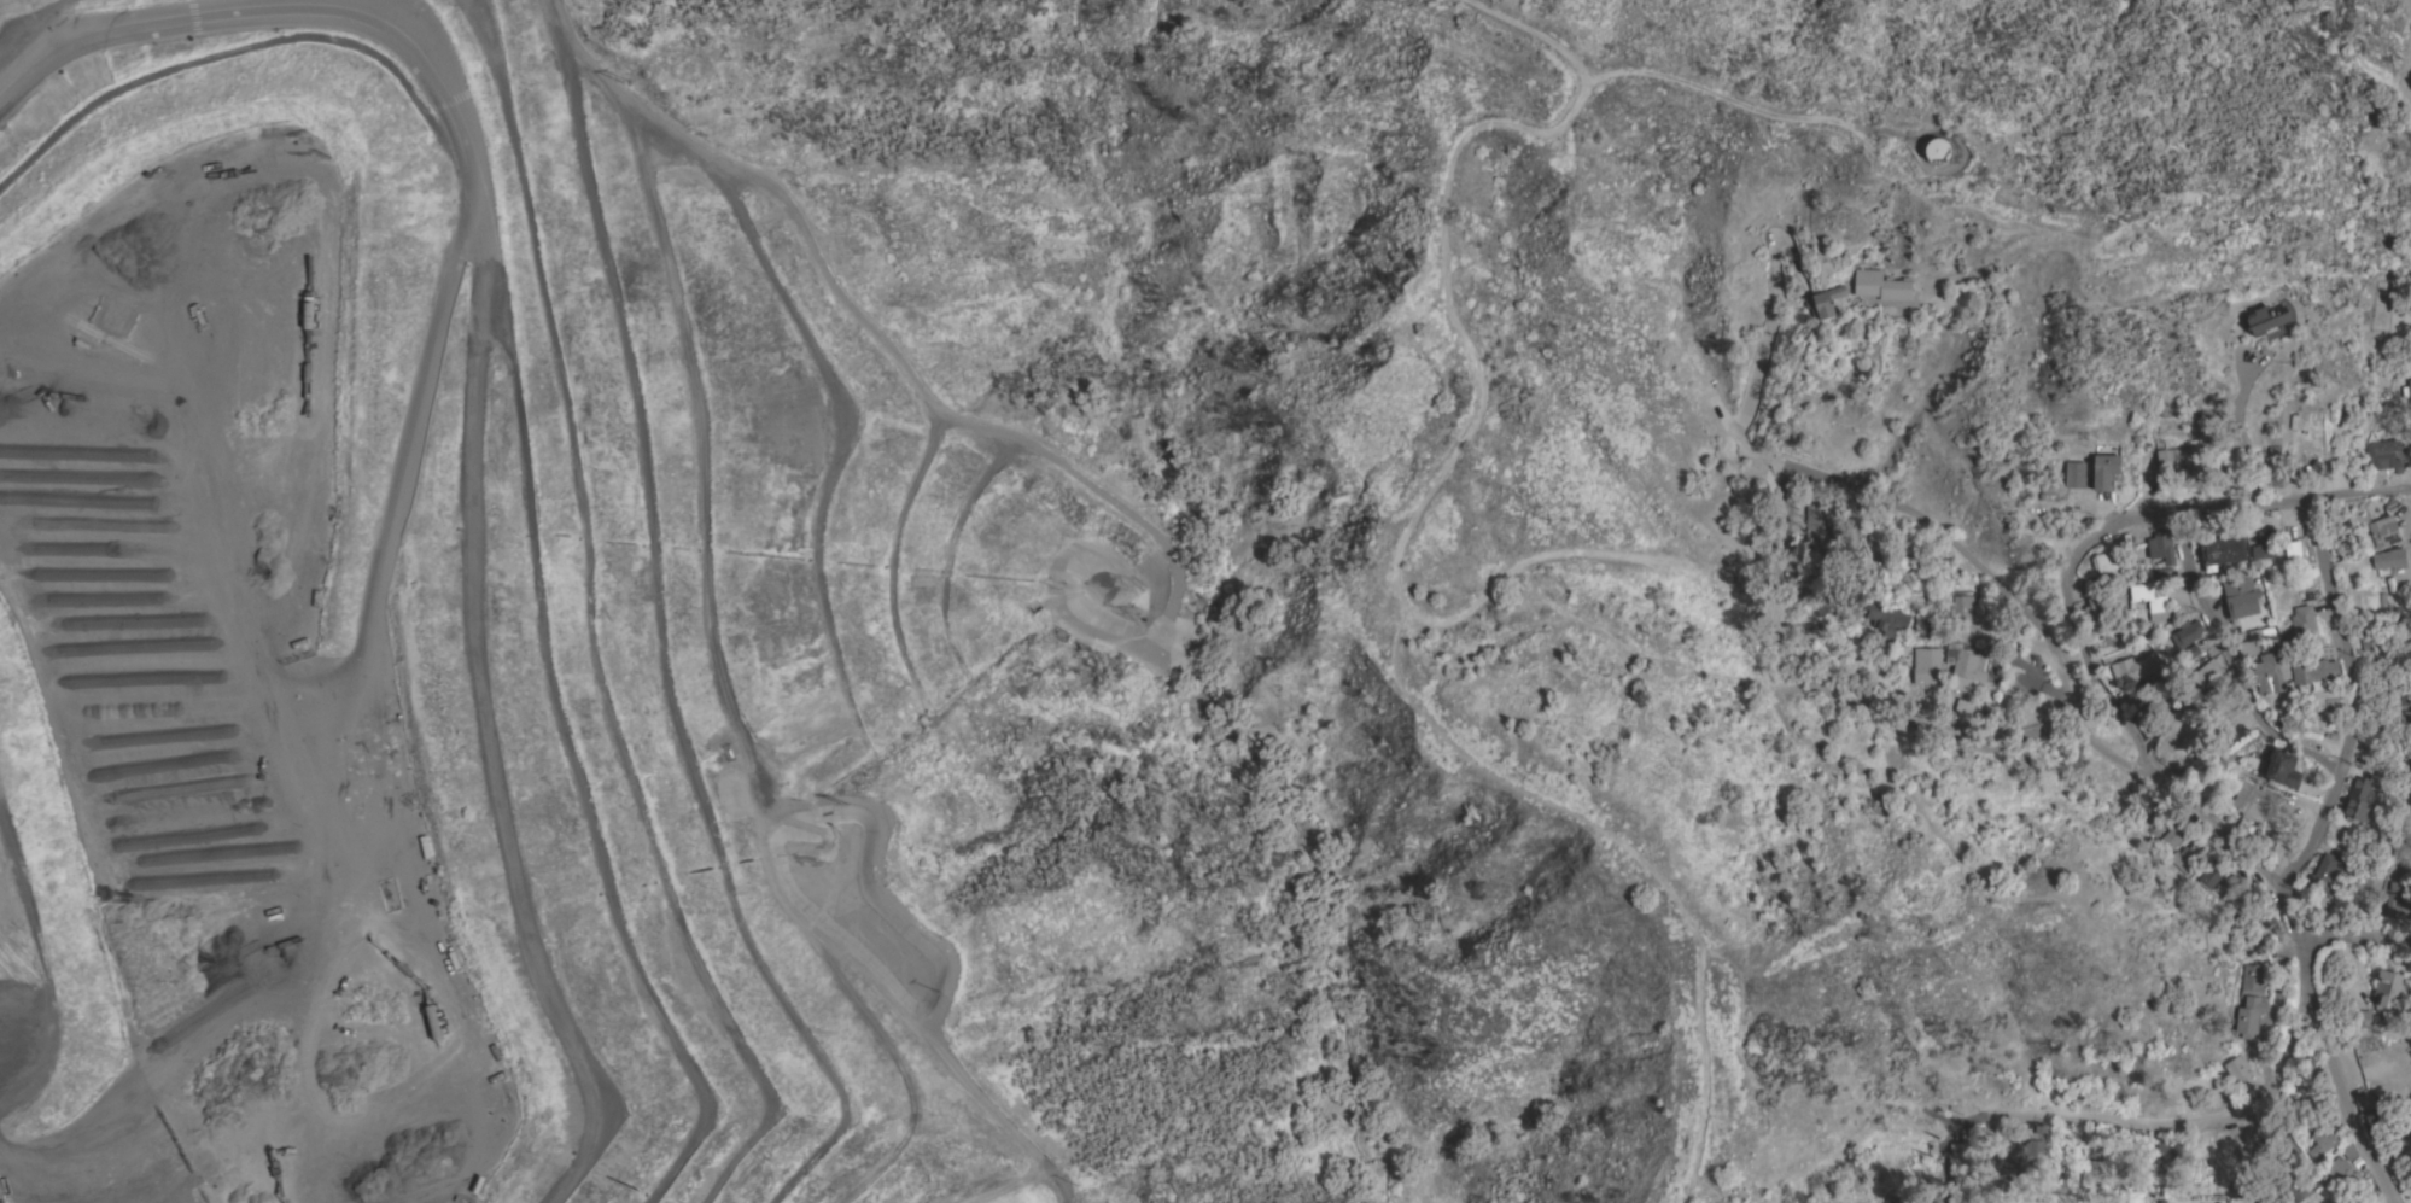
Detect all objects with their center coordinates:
road: (30, 30)
road: (1744, 93)
building: (1955, 150)
building: (1938, 151)
road: (1950, 197)
building: (1881, 285)
building: (1825, 300)
road: (1447, 308)
building: (2266, 319)
road: (864, 320)
road: (1764, 339)
building: (2410, 389)
road: (471, 409)
road: (2241, 428)
road: (409, 454)
building: (2383, 456)
building: (2178, 459)
building: (2104, 471)
building: (2074, 474)
road: (2358, 491)
road: (2144, 510)
building: (1820, 527)
building: (2383, 531)
road: (1786, 539)
building: (2264, 544)
building: (2160, 547)
building: (2293, 548)
building: (2223, 549)
road: (1967, 559)
building: (2389, 559)
building: (2107, 563)
road: (1543, 590)
building: (2240, 596)
building: (2102, 601)
building: (2150, 601)
building: (1823, 605)
building: (1966, 607)
building: (1882, 619)
building: (2301, 625)
landfill: (485, 632)
building: (2185, 632)
building: (2371, 640)
building: (2247, 647)
road: (2226, 653)
building: (1926, 665)
building: (2135, 667)
building: (1966, 668)
building: (2314, 670)
building: (2208, 671)
building: (2271, 672)
road: (2037, 682)
building: (2139, 691)
road: (2351, 695)
building: (1963, 709)
building: (2154, 712)
road: (1954, 736)
building: (2283, 767)
road: (2142, 770)
road: (2159, 779)
building: (2251, 798)
building: (2359, 798)
building: (2171, 836)
building: (2188, 857)
building: (2323, 875)
building: (2208, 877)
building: (2371, 880)
building: (2400, 880)
building: (2398, 906)
building: (2261, 917)
road: (2295, 933)
building: (2389, 987)
building: (2251, 998)
building: (2359, 1017)
building: (2133, 1057)
building: (2237, 1068)
road: (2348, 1092)
building: (2372, 1113)
road: (2193, 1125)
road: (2039, 1140)
building: (2322, 1143)
road: (2150, 1145)
building: (2195, 1146)
building: (1961, 1149)
building: (2349, 1150)
building: (2168, 1152)
building: (2020, 1154)
road: (2298, 1155)
road: (2106, 1163)
building: (2225, 1169)
building: (2092, 1173)
building: (2341, 1173)
building: (2288, 1189)
building: (1903, 1202)

